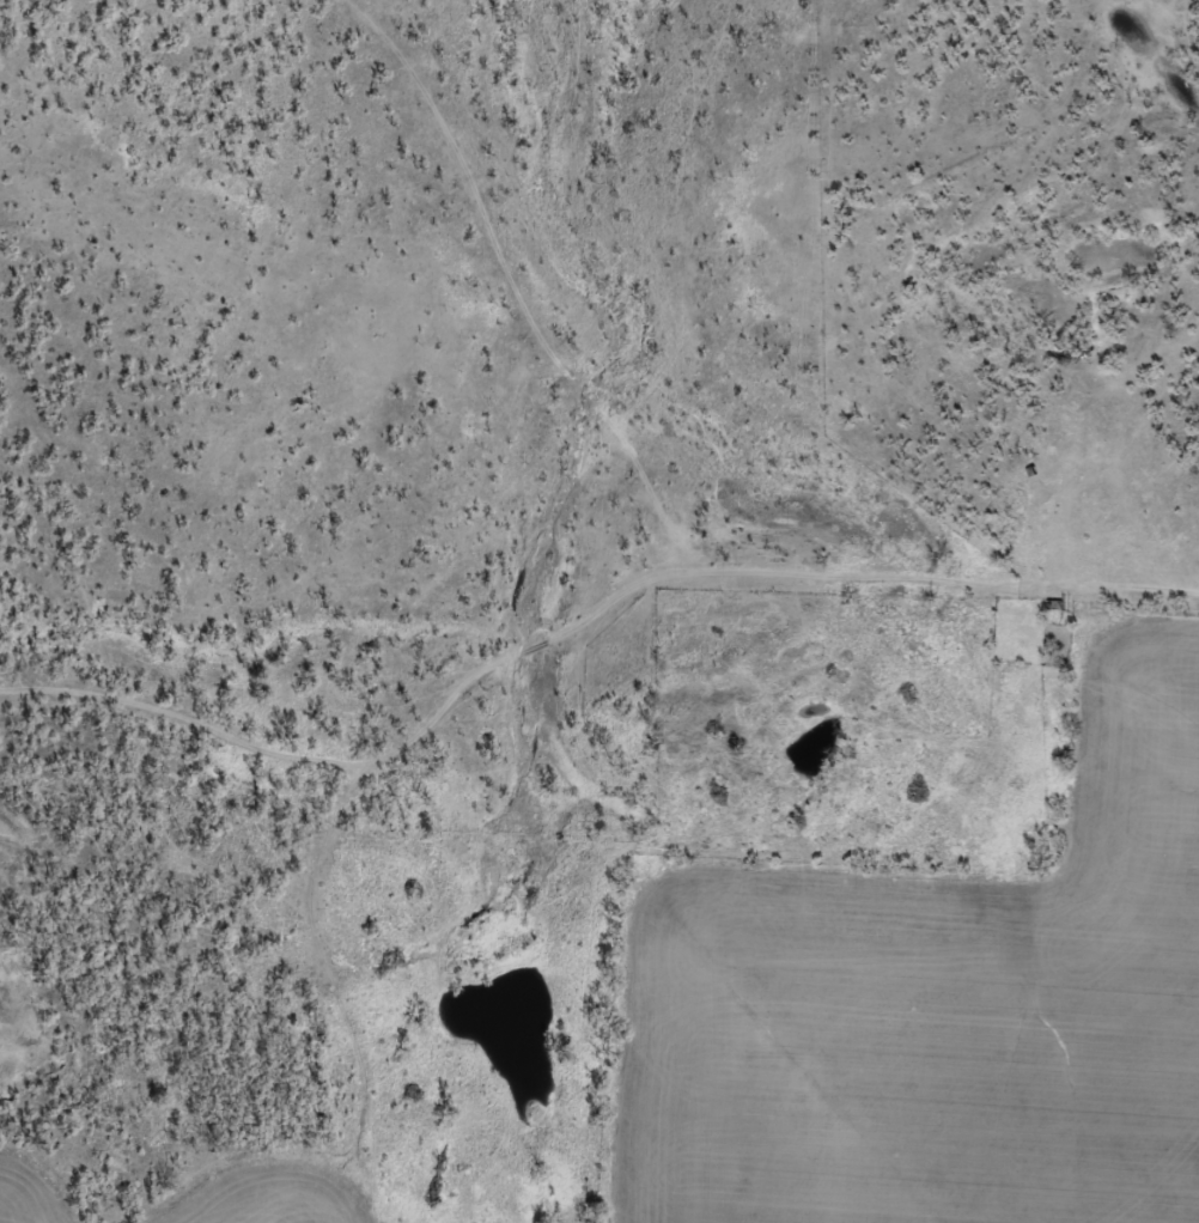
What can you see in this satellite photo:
road: (574, 614)

